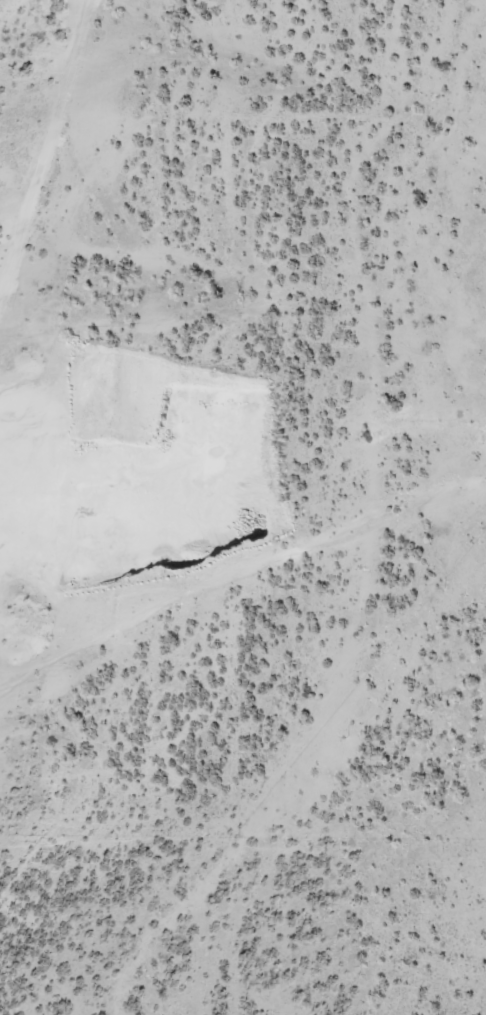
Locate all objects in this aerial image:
road: (47, 87)

